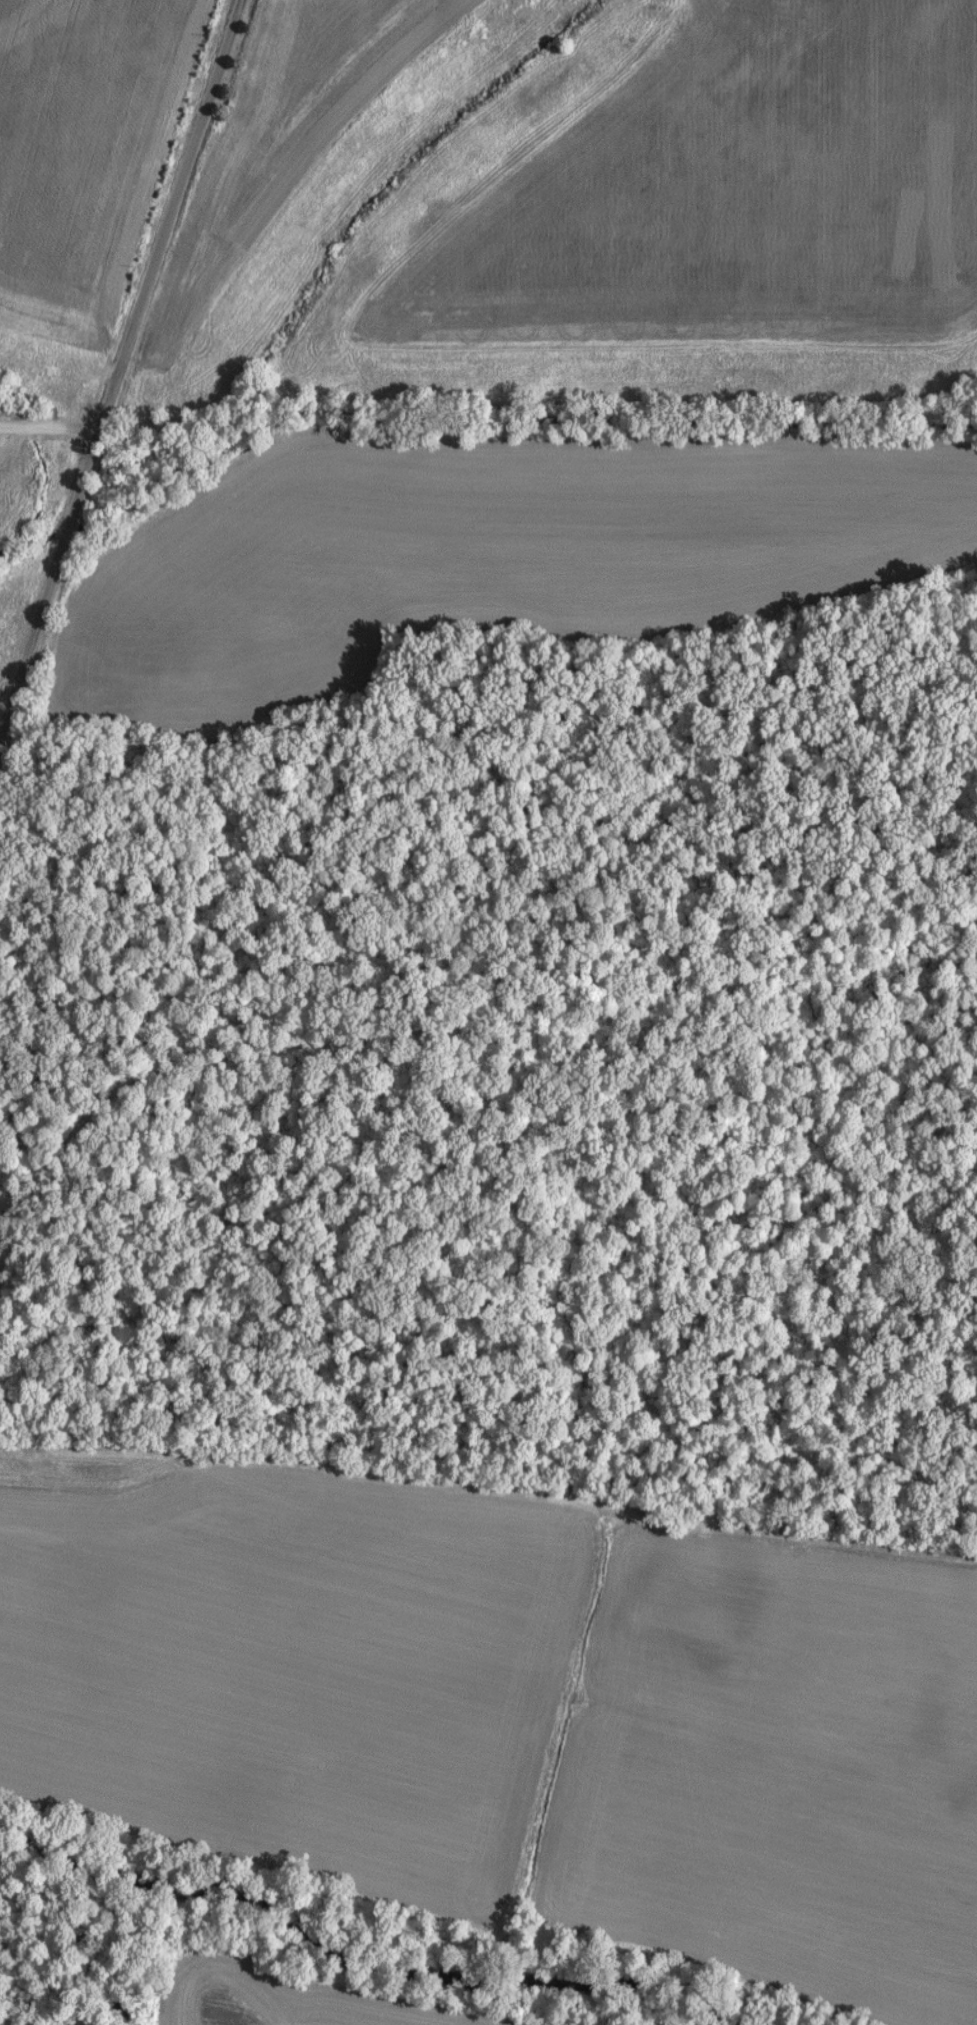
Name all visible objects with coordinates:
road: (124, 370)
road: (53, 428)

